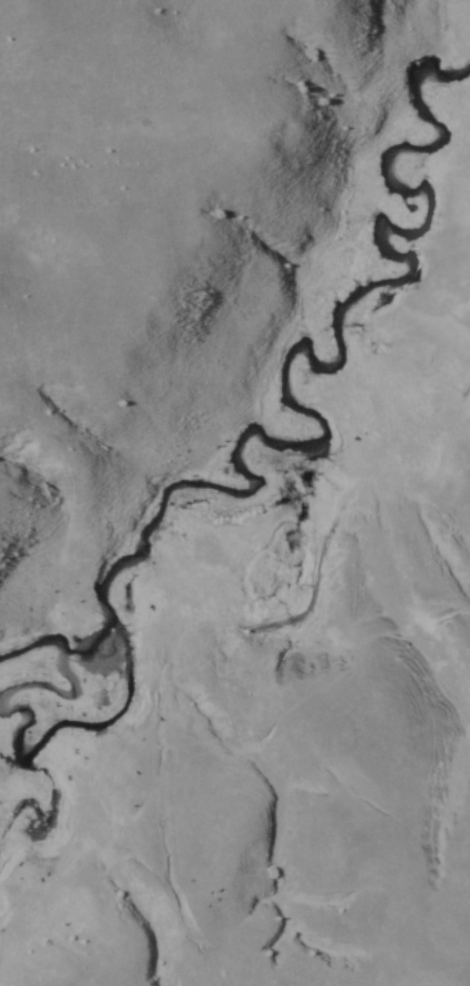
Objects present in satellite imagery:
river: (241, 461)
river: (51, 840)

